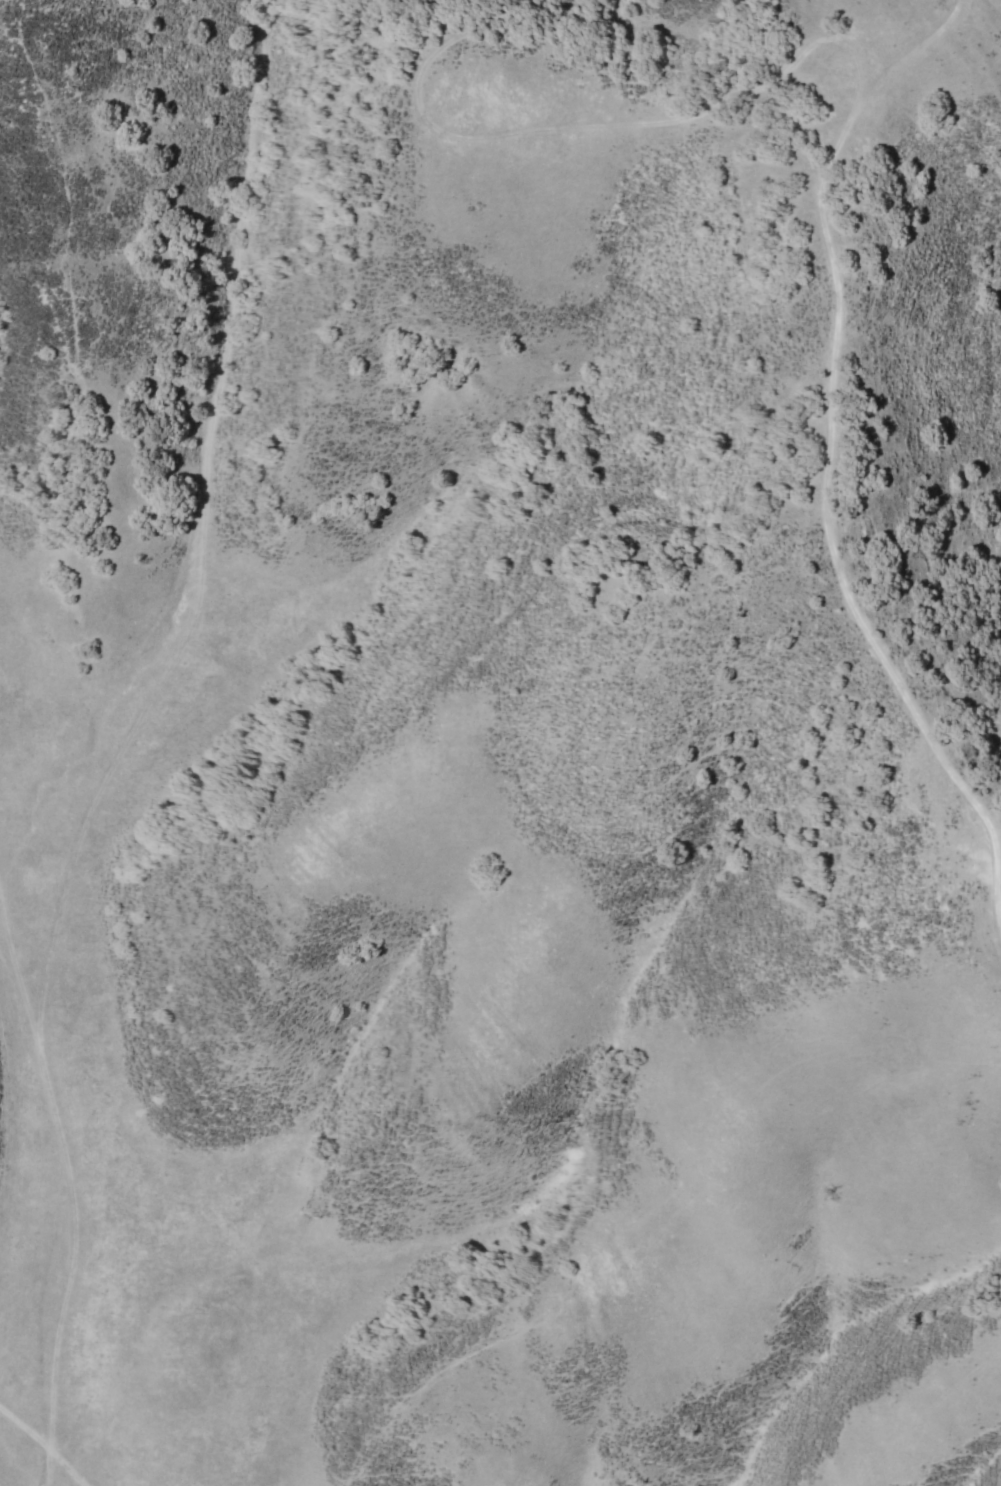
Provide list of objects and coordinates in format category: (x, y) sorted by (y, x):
road: (840, 137)
road: (135, 725)
road: (51, 1441)

